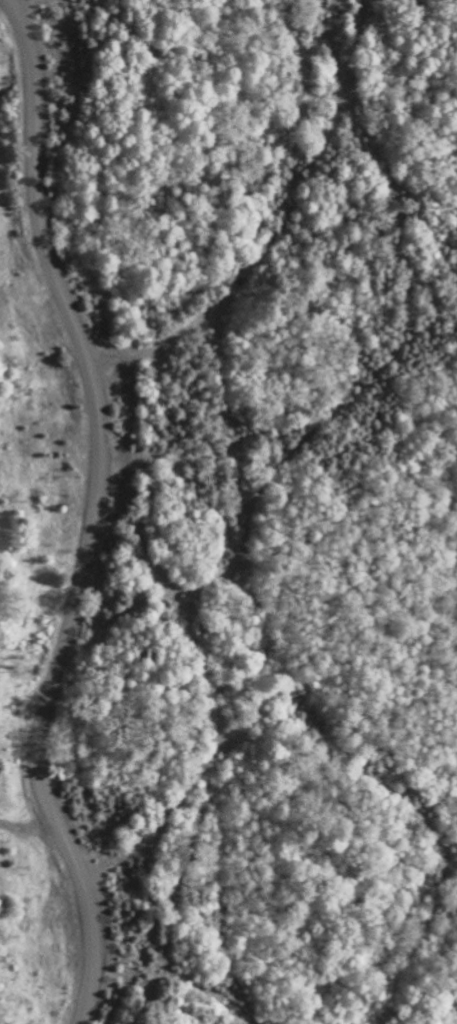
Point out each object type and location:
road: (94, 513)

